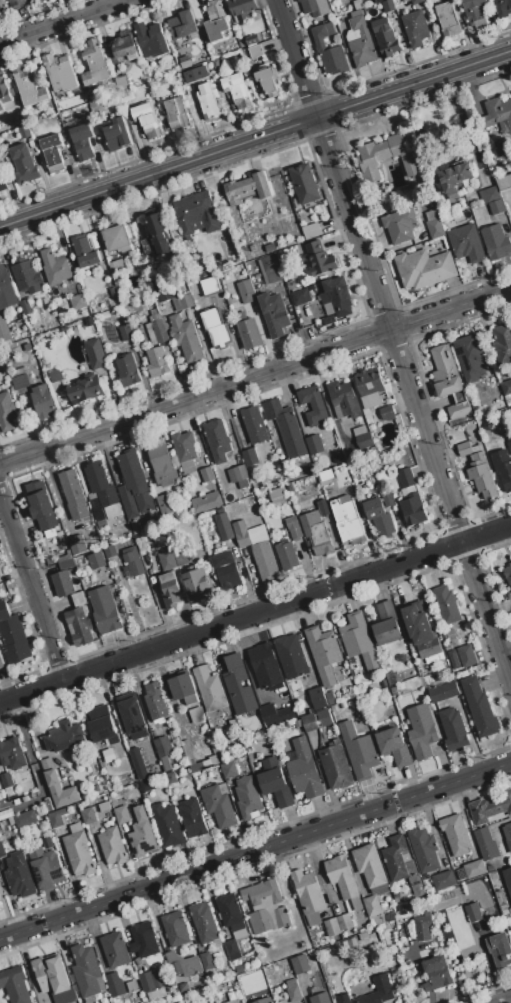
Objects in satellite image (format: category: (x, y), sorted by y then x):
building: (24, 0)
building: (40, 0)
building: (12, 1)
building: (379, 1)
building: (417, 2)
building: (358, 5)
building: (2, 6)
building: (387, 6)
building: (314, 7)
building: (503, 8)
building: (242, 9)
building: (476, 11)
building: (448, 20)
road: (63, 21)
building: (217, 21)
building: (182, 25)
building: (341, 26)
building: (415, 28)
building: (203, 34)
building: (386, 38)
building: (151, 40)
building: (251, 40)
building: (361, 41)
building: (123, 50)
building: (329, 50)
building: (256, 52)
building: (224, 62)
building: (95, 64)
building: (217, 64)
building: (60, 73)
building: (160, 82)
building: (268, 82)
building: (122, 84)
building: (29, 86)
building: (234, 93)
building: (5, 95)
building: (125, 95)
building: (208, 102)
building: (177, 113)
building: (497, 115)
building: (145, 120)
building: (32, 126)
building: (24, 132)
building: (116, 134)
road: (255, 138)
building: (83, 142)
building: (1, 146)
building: (501, 149)
building: (52, 152)
building: (386, 159)
building: (24, 164)
building: (454, 178)
building: (3, 183)
building: (504, 183)
building: (305, 185)
building: (248, 189)
building: (490, 195)
building: (420, 197)
building: (474, 197)
building: (497, 207)
building: (196, 214)
building: (432, 215)
building: (400, 225)
building: (327, 226)
building: (436, 229)
building: (311, 231)
building: (159, 233)
building: (118, 239)
building: (496, 242)
building: (466, 244)
building: (270, 247)
building: (251, 248)
building: (85, 252)
building: (320, 259)
building: (269, 263)
building: (55, 268)
building: (118, 269)
building: (424, 269)
building: (27, 278)
building: (291, 284)
building: (209, 286)
building: (161, 289)
building: (6, 290)
building: (245, 292)
building: (337, 296)
building: (300, 297)
building: (184, 301)
building: (78, 302)
building: (25, 307)
building: (92, 307)
building: (274, 314)
building: (104, 316)
building: (329, 320)
building: (89, 322)
building: (215, 328)
building: (156, 329)
building: (4, 331)
building: (35, 331)
building: (248, 332)
building: (125, 333)
building: (186, 339)
road: (393, 342)
building: (502, 343)
building: (27, 347)
building: (95, 354)
building: (472, 357)
building: (158, 362)
building: (1, 368)
building: (128, 370)
building: (54, 375)
road: (255, 376)
building: (2, 378)
building: (20, 379)
building: (449, 381)
building: (369, 387)
building: (506, 388)
building: (86, 389)
building: (344, 399)
building: (42, 402)
building: (313, 405)
building: (476, 409)
building: (509, 411)
building: (7, 412)
building: (387, 413)
building: (254, 425)
building: (487, 426)
building: (286, 428)
building: (217, 437)
building: (363, 439)
building: (314, 445)
building: (509, 447)
building: (464, 449)
building: (185, 451)
building: (250, 457)
building: (338, 460)
building: (162, 463)
building: (310, 471)
building: (481, 474)
building: (207, 475)
building: (239, 477)
building: (325, 478)
building: (406, 478)
building: (506, 479)
building: (100, 485)
building: (134, 486)
building: (291, 488)
building: (276, 494)
building: (74, 495)
building: (163, 502)
building: (206, 502)
building: (42, 506)
building: (323, 508)
building: (413, 511)
building: (381, 514)
building: (348, 523)
building: (223, 526)
building: (293, 528)
building: (134, 529)
building: (242, 534)
building: (317, 534)
building: (142, 545)
building: (77, 546)
building: (110, 552)
building: (179, 556)
building: (287, 556)
building: (64, 559)
building: (97, 560)
building: (167, 561)
building: (264, 561)
building: (133, 562)
building: (66, 565)
building: (226, 572)
building: (507, 574)
road: (32, 585)
building: (63, 585)
building: (198, 586)
building: (169, 591)
building: (127, 594)
building: (79, 600)
building: (447, 606)
building: (105, 611)
road: (255, 613)
building: (386, 625)
building: (79, 627)
building: (421, 630)
building: (13, 637)
building: (359, 642)
building: (323, 654)
building: (467, 656)
building: (291, 658)
building: (1, 663)
building: (265, 668)
building: (238, 686)
building: (183, 690)
building: (209, 690)
building: (443, 693)
building: (321, 699)
building: (155, 703)
building: (342, 706)
building: (480, 709)
building: (284, 713)
building: (269, 716)
building: (132, 717)
building: (298, 724)
building: (309, 724)
building: (101, 725)
building: (453, 730)
building: (421, 732)
building: (64, 738)
building: (394, 747)
building: (185, 748)
building: (359, 752)
building: (163, 753)
building: (12, 754)
building: (109, 756)
building: (214, 760)
building: (138, 764)
building: (198, 766)
building: (336, 767)
building: (303, 770)
building: (228, 771)
building: (171, 779)
building: (275, 783)
building: (7, 784)
building: (147, 785)
building: (58, 786)
building: (248, 799)
building: (48, 805)
building: (218, 806)
building: (490, 808)
building: (6, 813)
building: (96, 814)
building: (121, 816)
building: (25, 819)
building: (56, 819)
building: (192, 819)
building: (167, 826)
building: (141, 835)
building: (456, 835)
building: (507, 835)
building: (486, 845)
building: (112, 847)
road: (255, 849)
building: (424, 850)
building: (2, 851)
building: (78, 851)
building: (402, 865)
building: (46, 866)
building: (370, 867)
building: (474, 869)
building: (508, 880)
building: (444, 881)
building: (20, 882)
building: (343, 882)
building: (444, 896)
building: (309, 897)
building: (500, 900)
building: (375, 905)
building: (265, 907)
building: (474, 912)
building: (231, 915)
building: (344, 922)
building: (205, 925)
building: (332, 928)
building: (423, 928)
building: (175, 930)
building: (143, 941)
building: (115, 951)
building: (232, 951)
building: (499, 951)
building: (206, 962)
building: (300, 965)
building: (183, 966)
building: (239, 969)
building: (86, 972)
building: (436, 974)
building: (54, 979)
building: (149, 981)
building: (15, 985)
building: (115, 986)
building: (382, 986)
building: (132, 987)
building: (293, 992)
building: (206, 993)
building: (256, 999)
building: (320, 999)
building: (231, 1001)
road: (505, 1001)

